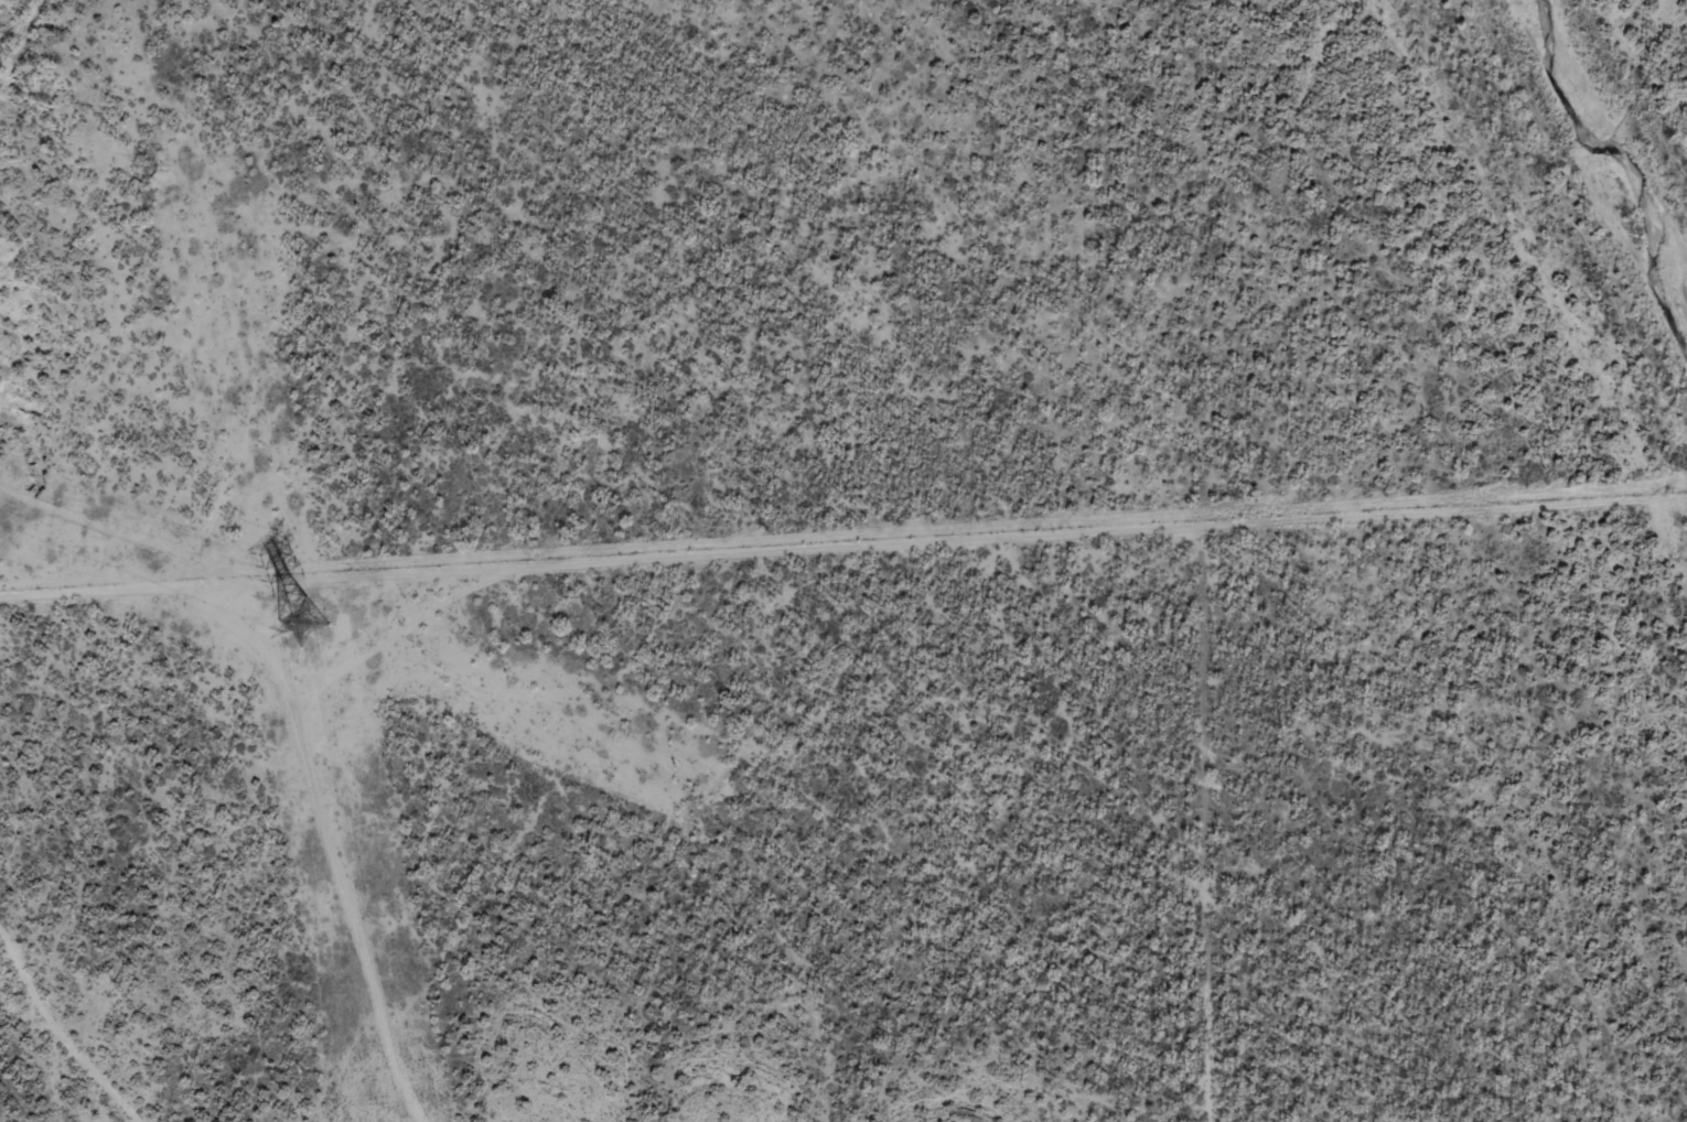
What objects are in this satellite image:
river: (1602, 168)
road: (501, 563)
power tower: (307, 622)

